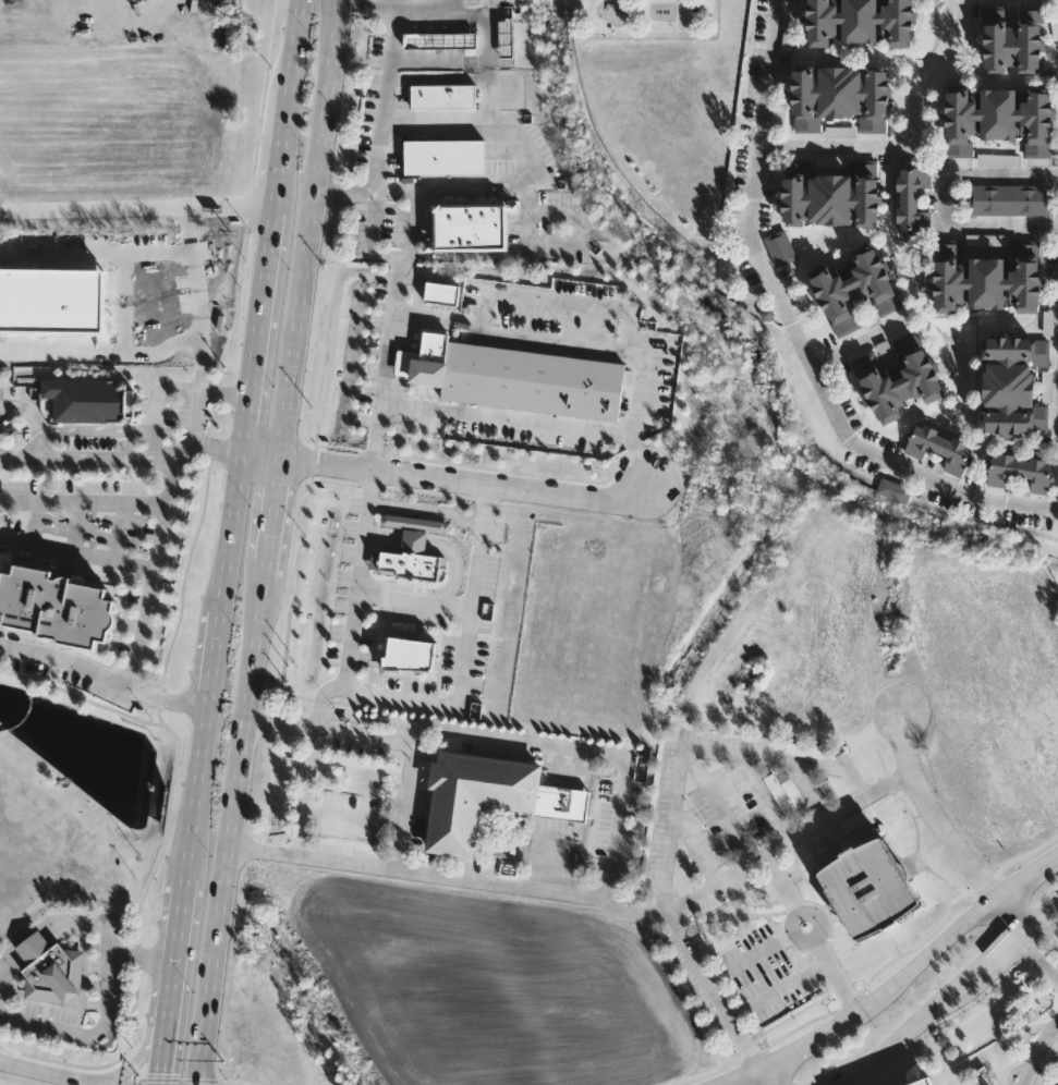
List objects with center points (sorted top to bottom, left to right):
building: (858, 22)
road: (133, 23)
road: (484, 26)
park: (664, 29)
building: (506, 39)
building: (440, 41)
building: (1011, 46)
road: (292, 50)
building: (445, 96)
building: (838, 96)
road: (384, 105)
building: (998, 119)
road: (825, 148)
road: (280, 151)
building: (445, 156)
building: (1000, 161)
road: (535, 166)
building: (829, 198)
building: (912, 198)
road: (947, 198)
building: (1012, 198)
road: (524, 199)
road: (137, 207)
building: (471, 223)
building: (989, 242)
building: (782, 249)
road: (97, 251)
road: (519, 252)
building: (987, 277)
building: (856, 290)
road: (202, 297)
building: (522, 305)
building: (574, 310)
road: (393, 316)
road: (259, 326)
road: (798, 330)
road: (859, 342)
road: (102, 354)
building: (647, 370)
building: (1014, 383)
building: (902, 386)
road: (639, 395)
building: (88, 398)
road: (196, 424)
building: (941, 447)
road: (263, 451)
road: (126, 456)
road: (636, 464)
building: (1020, 470)
road: (462, 479)
building: (896, 492)
road: (83, 501)
road: (233, 531)
road: (268, 542)
road: (78, 551)
road: (358, 575)
road: (150, 594)
road: (414, 599)
building: (56, 605)
road: (217, 660)
road: (106, 675)
road: (416, 697)
road: (904, 745)
building: (807, 752)
road: (199, 794)
road: (763, 796)
building: (474, 797)
building: (790, 798)
road: (716, 803)
road: (405, 804)
building: (562, 804)
road: (354, 817)
road: (664, 819)
road: (952, 837)
road: (692, 838)
road: (619, 841)
road: (787, 842)
building: (863, 887)
road: (632, 911)
road: (1029, 915)
road: (1054, 929)
road: (810, 932)
road: (181, 934)
road: (1021, 942)
road: (35, 949)
road: (144, 959)
road: (744, 964)
road: (8, 970)
building: (51, 970)
road: (892, 984)
road: (781, 993)
road: (108, 995)
road: (941, 1000)
parking lot: (52, 1014)
road: (168, 1035)
road: (1044, 1044)
road: (150, 1051)
road: (63, 1074)
traffic signals: (163, 1074)
road: (1027, 1074)
road: (764, 1076)
building: (876, 1082)
building: (923, 1082)

